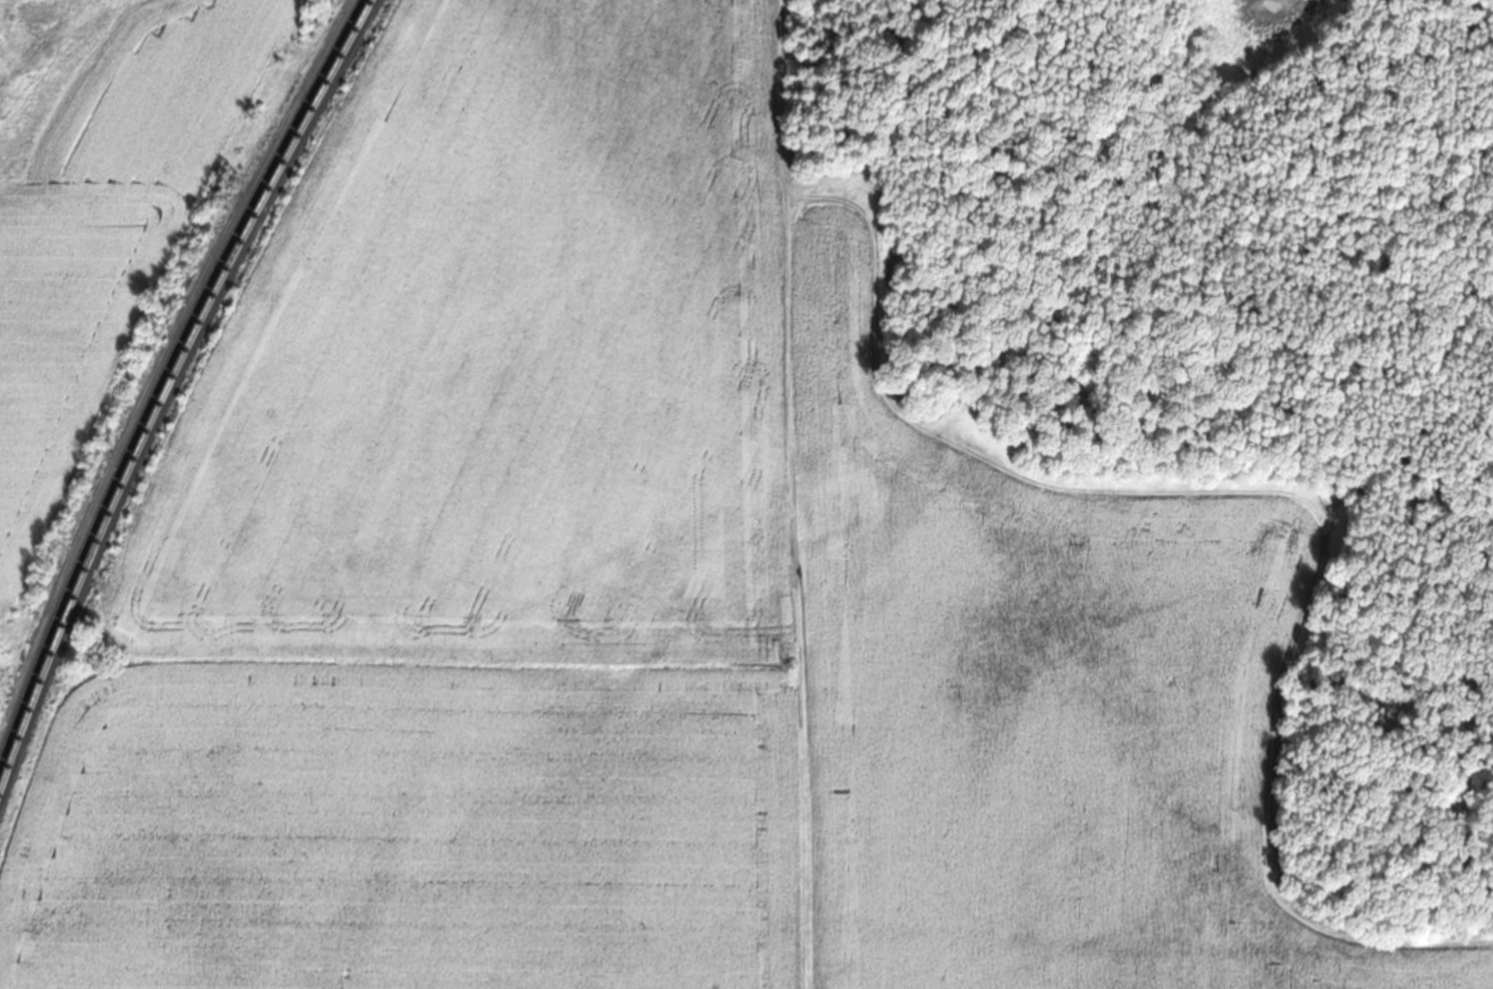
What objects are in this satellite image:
railway: (162, 370)
railway: (166, 386)

